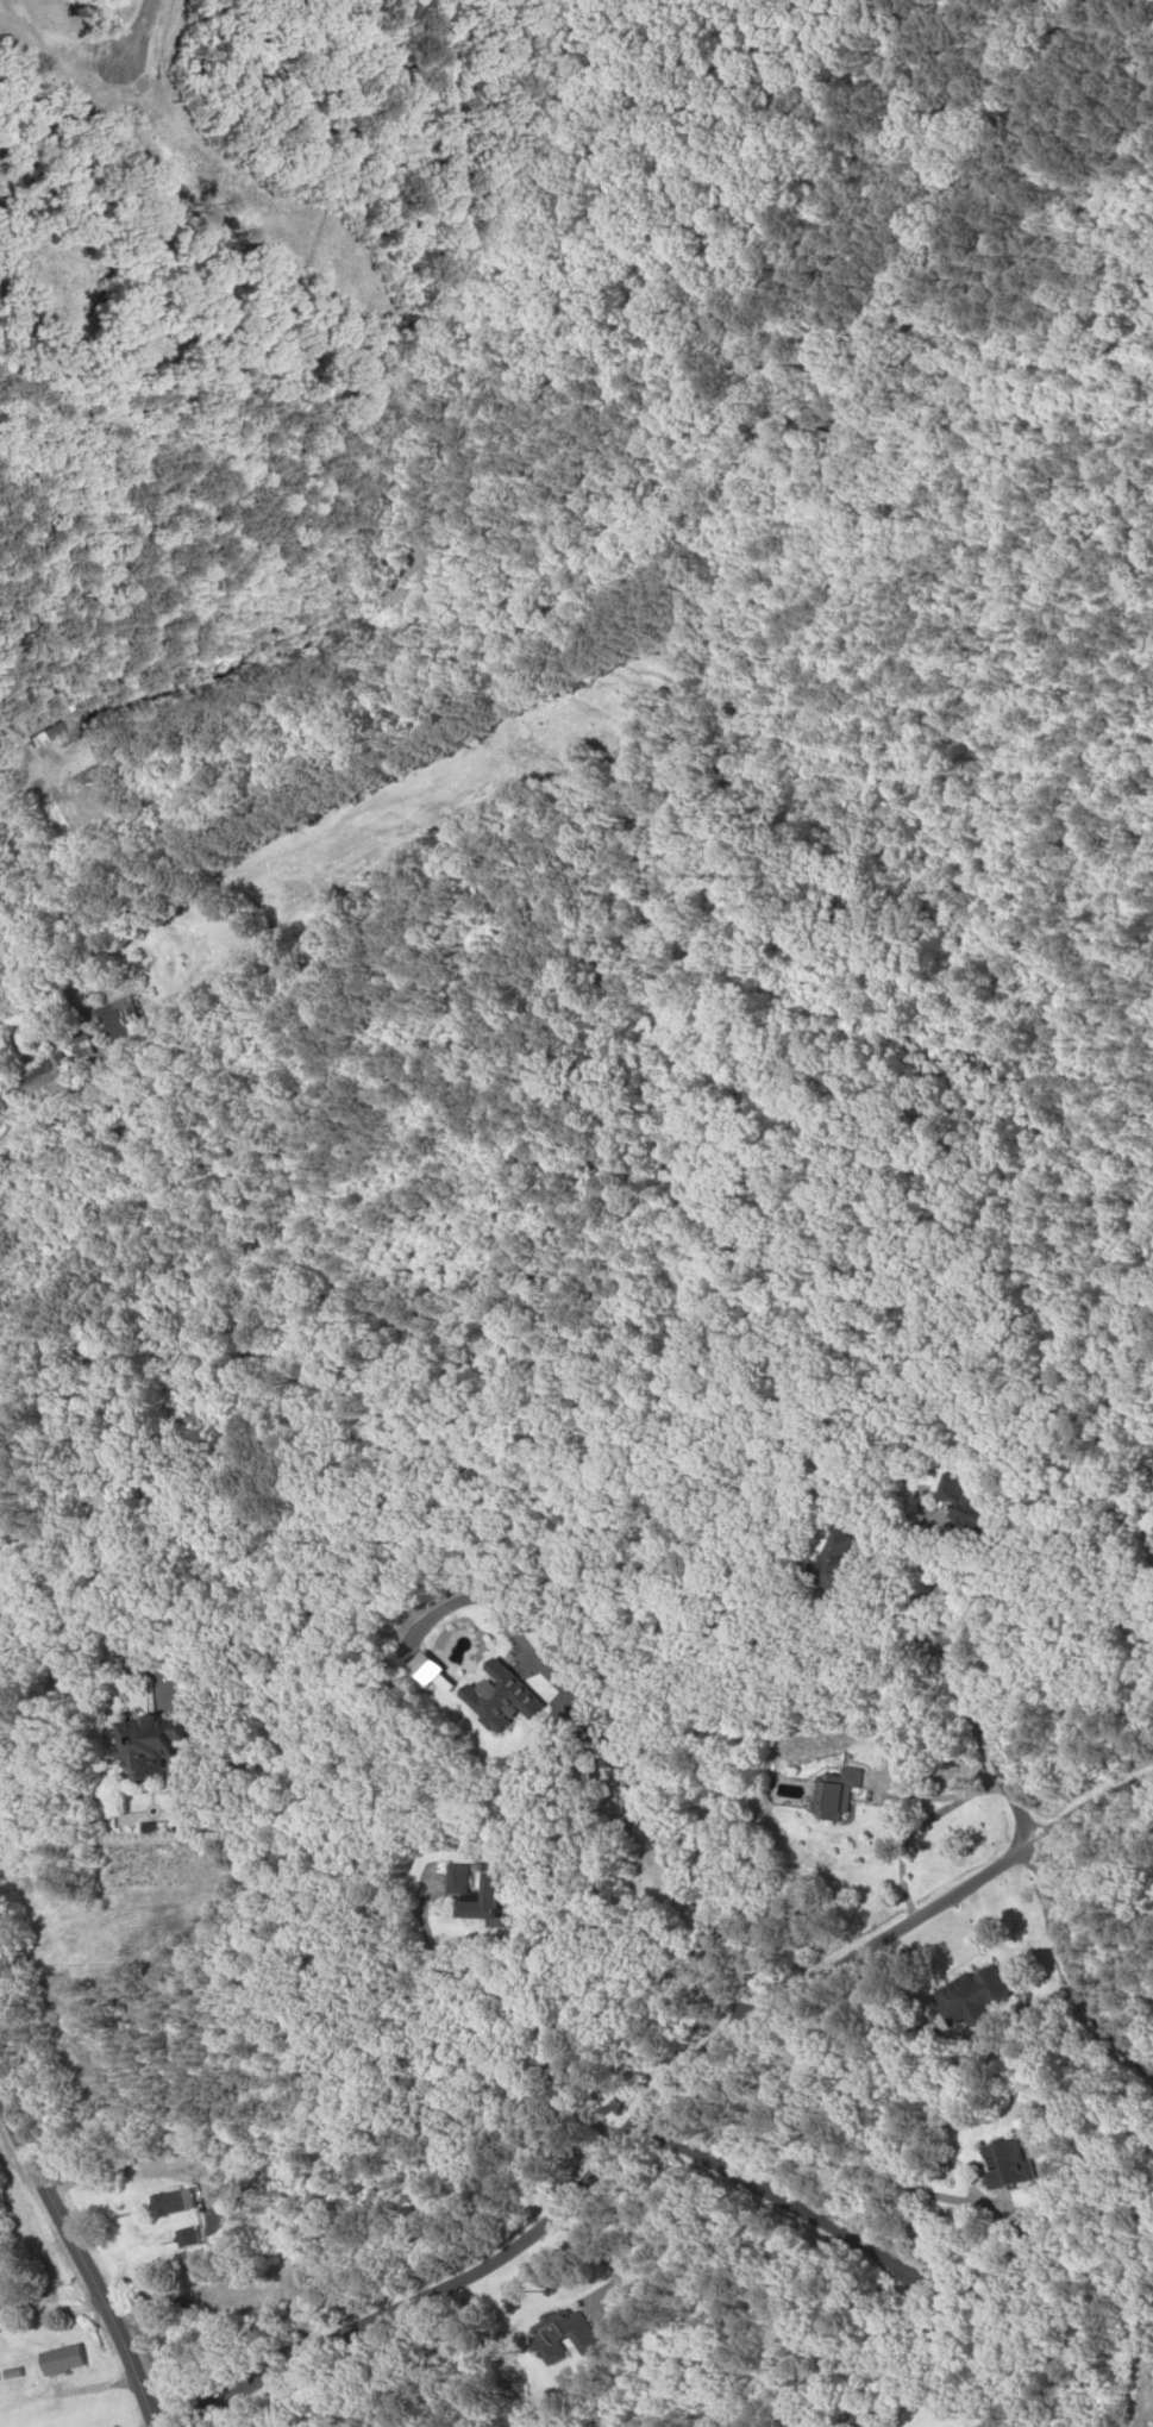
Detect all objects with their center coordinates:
road: (161, 30)
building: (115, 1024)
building: (76, 1043)
building: (38, 1078)
building: (963, 1507)
building: (829, 1563)
building: (188, 1693)
road: (977, 1734)
building: (142, 1744)
building: (828, 1794)
building: (453, 1879)
building: (476, 1900)
road: (1066, 1973)
building: (959, 2000)
road: (648, 2097)
building: (177, 2156)
building: (995, 2163)
building: (171, 2203)
road: (801, 2218)
road: (81, 2263)
building: (559, 2335)
building: (57, 2360)

